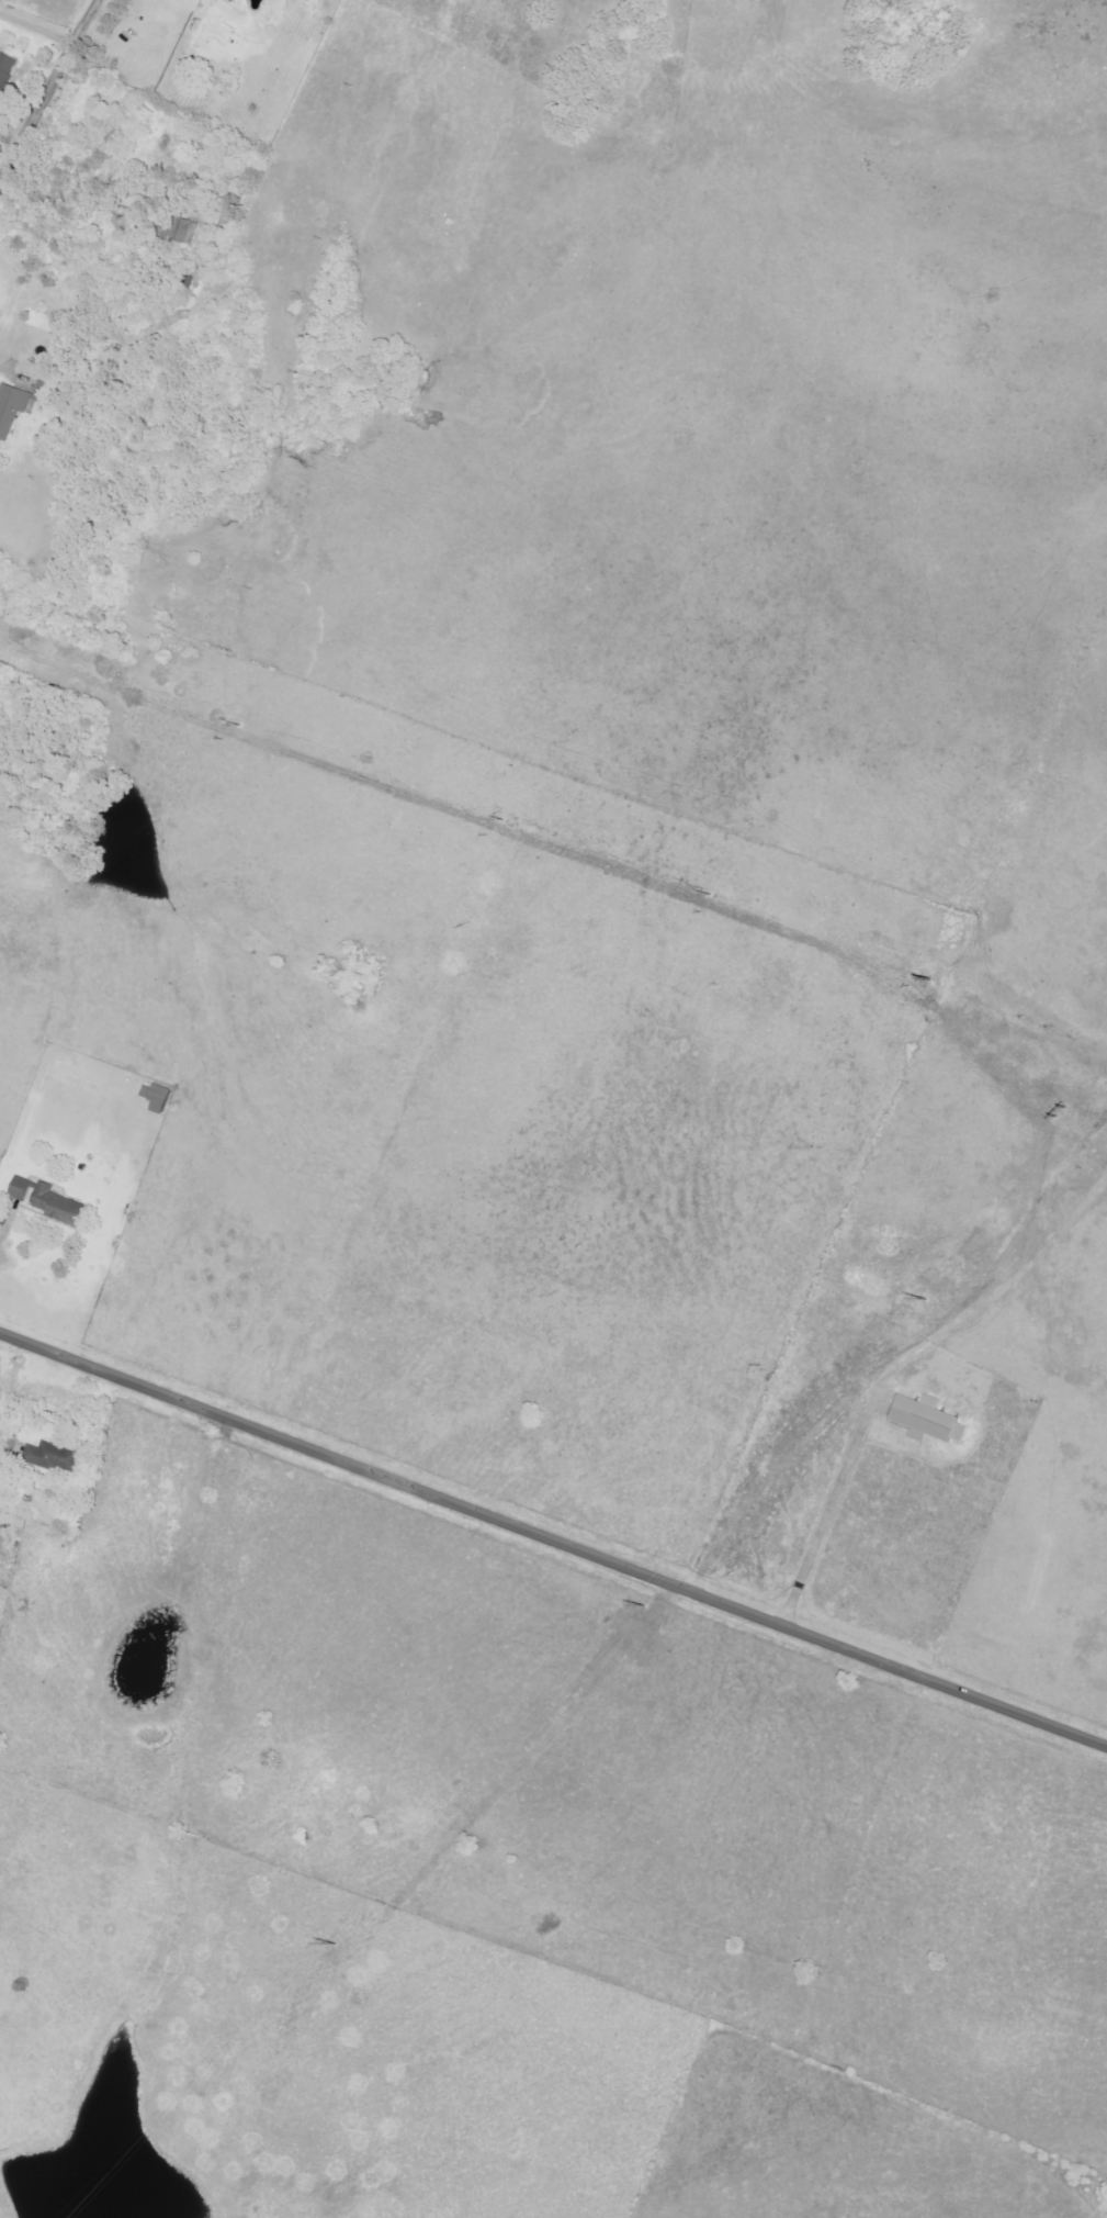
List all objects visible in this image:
road: (39, 29)
building: (5, 71)
road: (52, 96)
building: (185, 233)
building: (11, 410)
road: (509, 989)
road: (838, 1064)
building: (158, 1099)
building: (20, 1189)
building: (57, 1206)
power tower: (997, 1222)
road: (157, 1242)
road: (11, 1390)
building: (927, 1420)
building: (52, 1458)
road: (826, 1516)
road: (1018, 1533)
road: (554, 1539)
power tower: (449, 1819)

